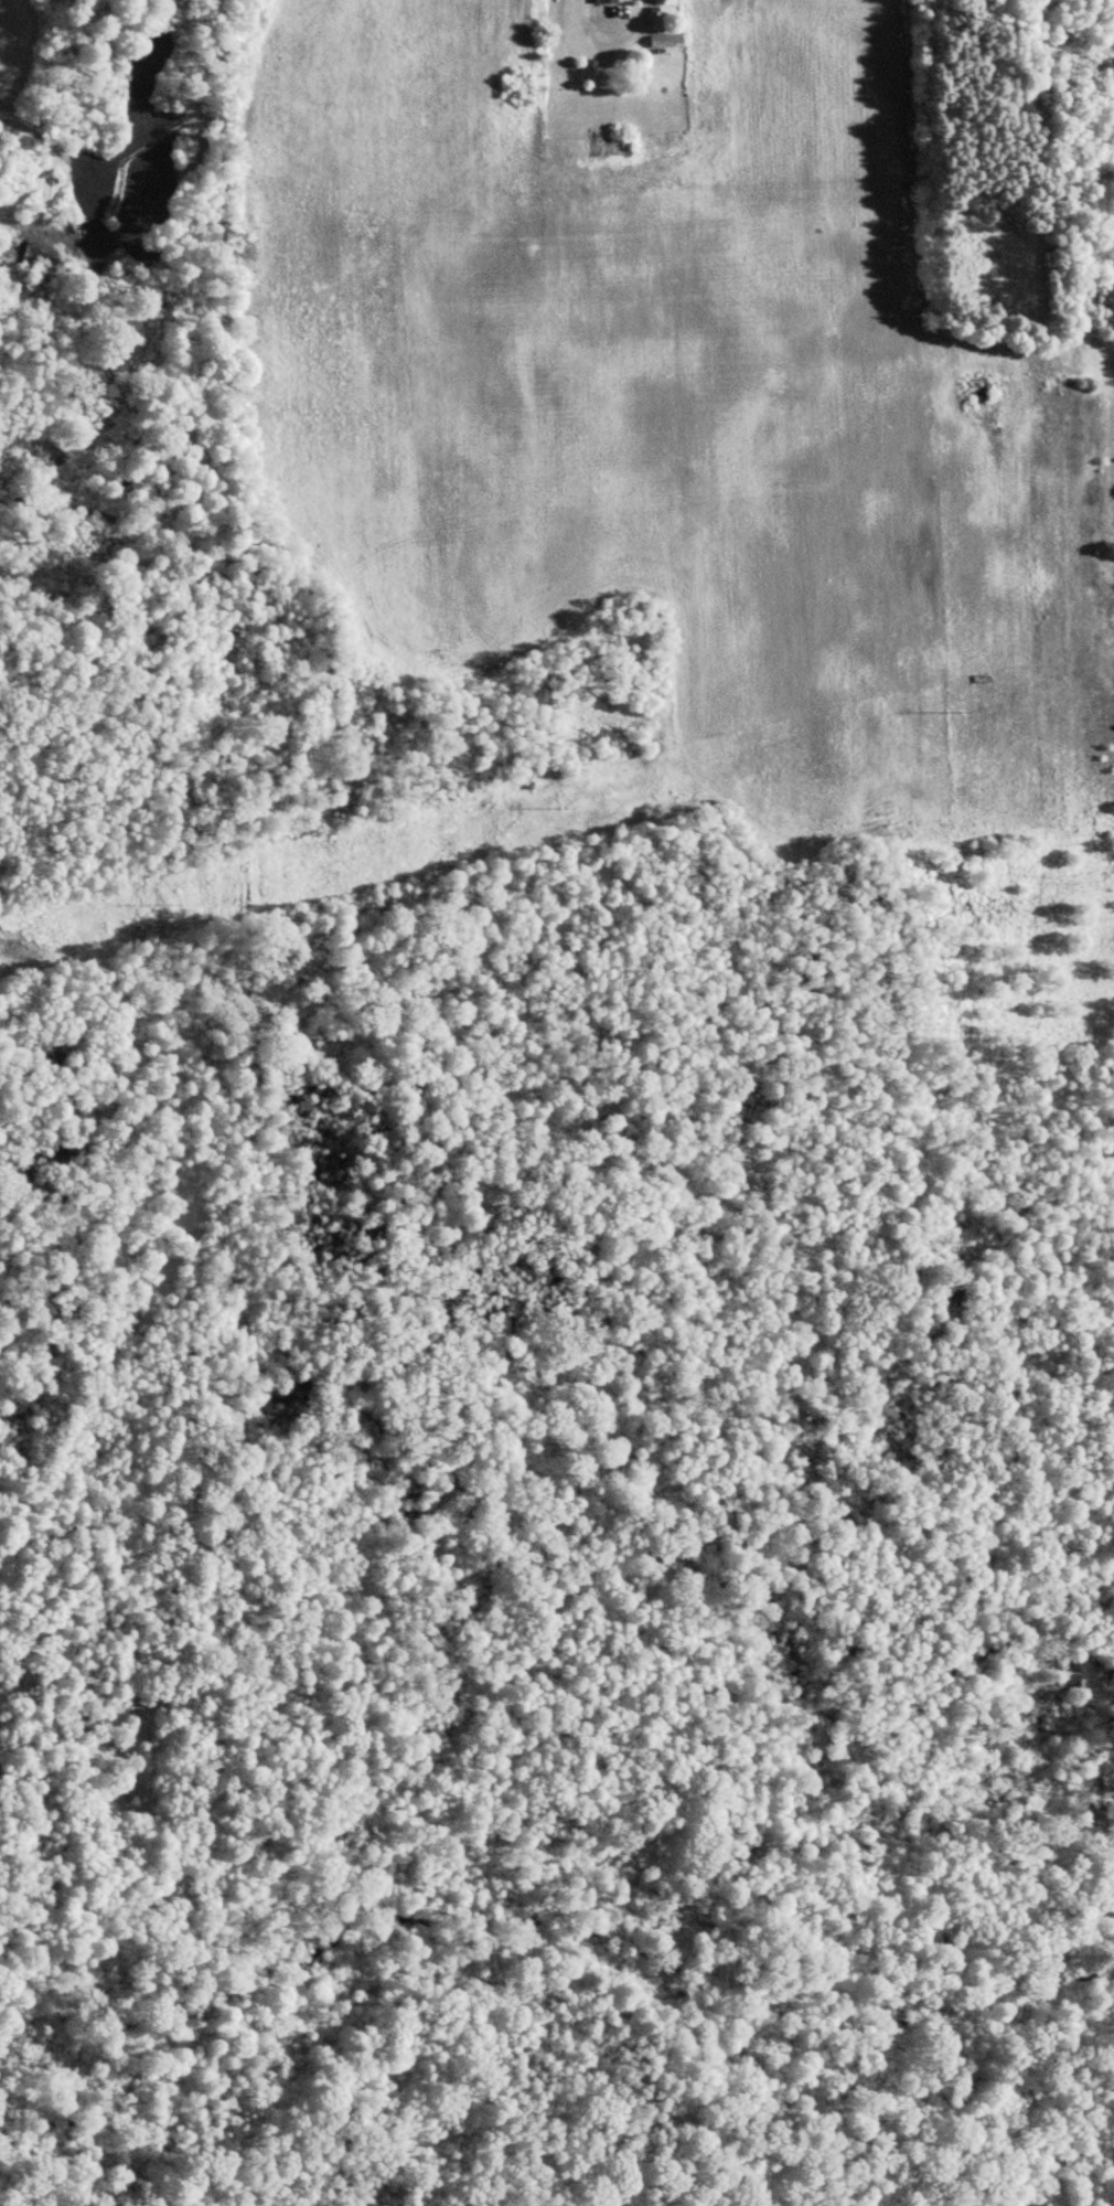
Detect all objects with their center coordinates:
building: (602, 0)
road: (597, 18)
building: (651, 20)
building: (662, 40)

